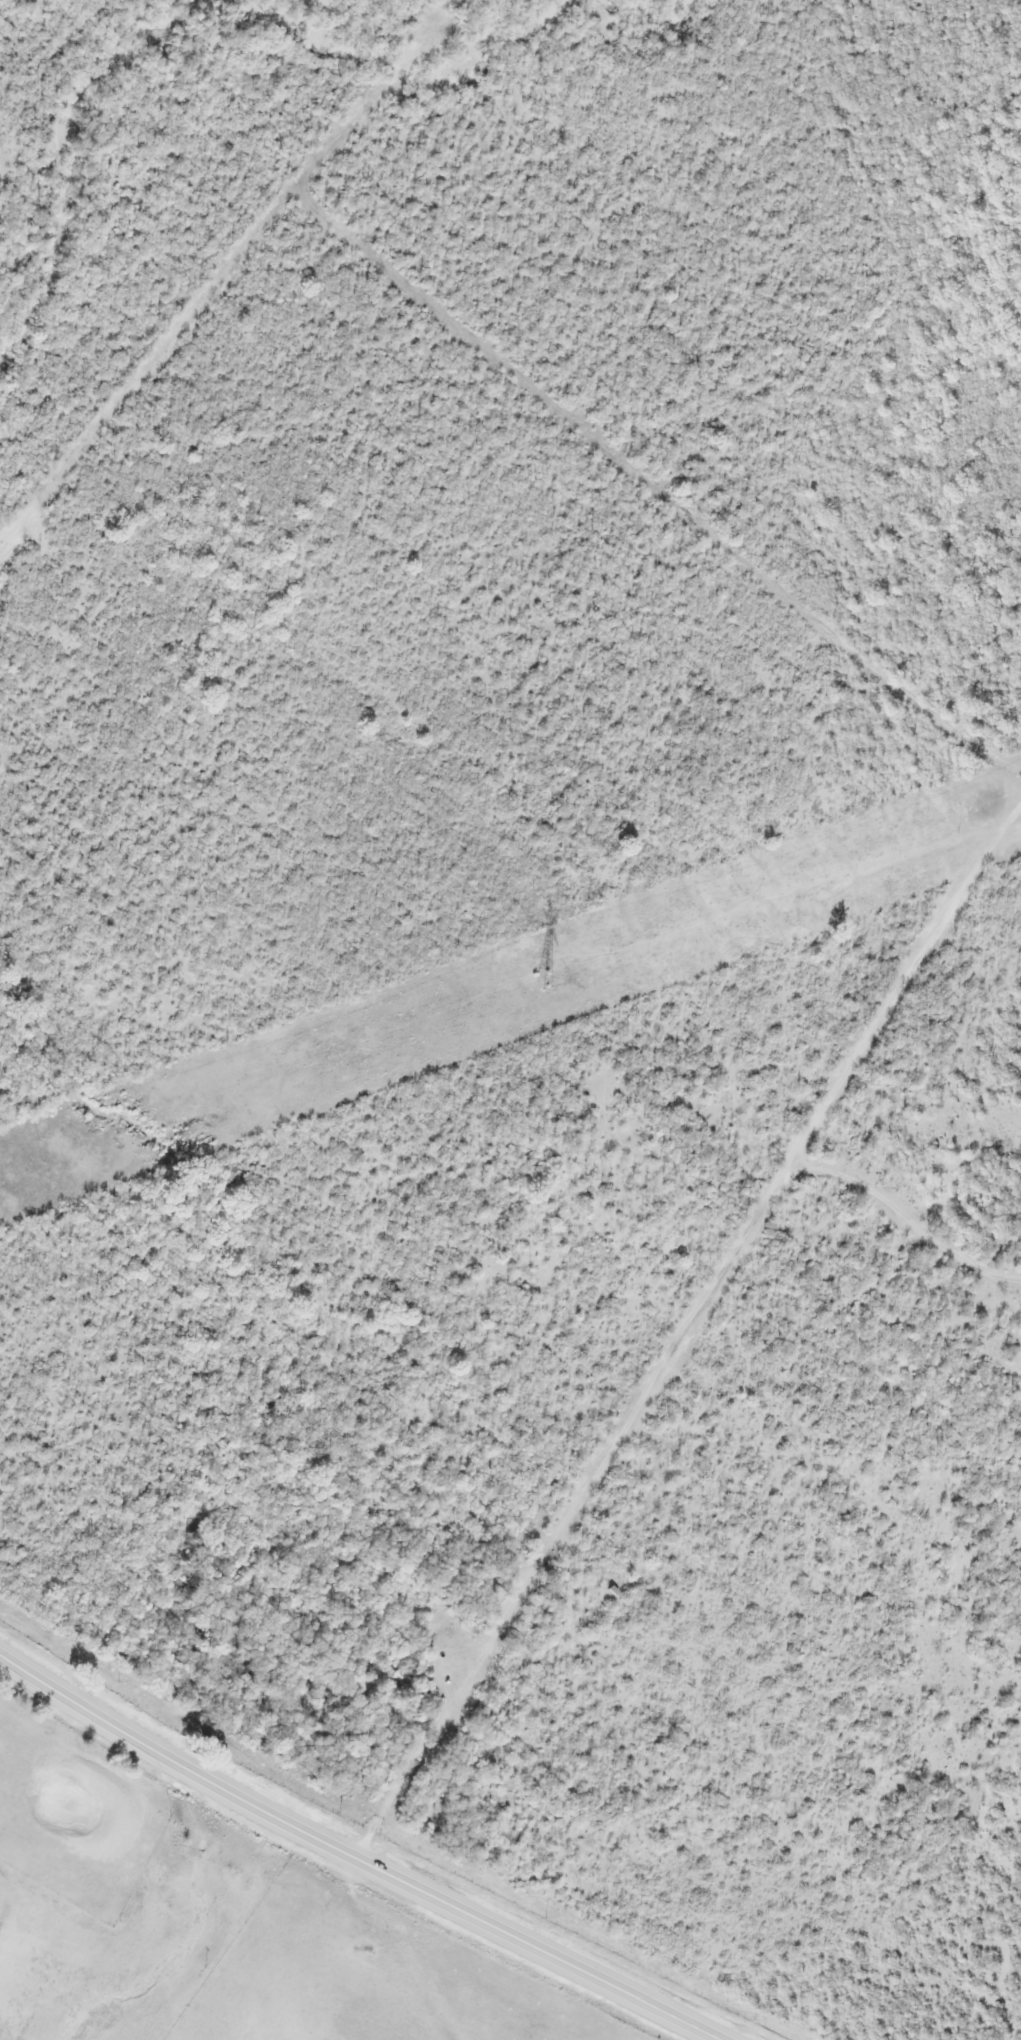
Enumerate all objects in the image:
power tower: (543, 979)
road: (361, 1853)

